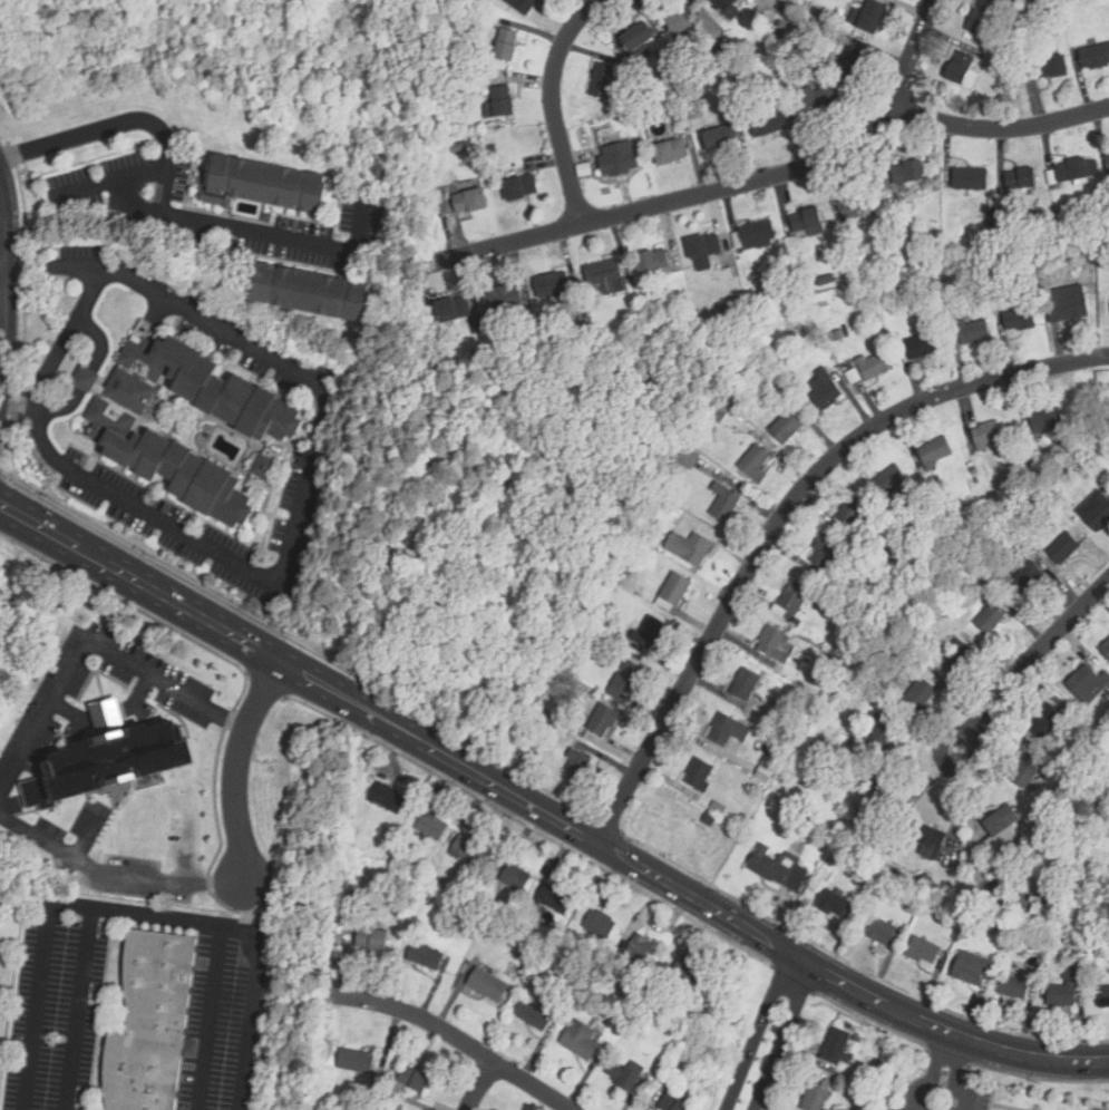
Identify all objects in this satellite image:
building: (1045, 3)
building: (726, 4)
building: (526, 6)
building: (817, 14)
building: (854, 18)
building: (873, 18)
building: (983, 18)
building: (684, 22)
building: (837, 26)
building: (639, 38)
building: (508, 48)
building: (1095, 57)
building: (788, 59)
building: (695, 64)
building: (1011, 64)
building: (853, 65)
building: (1052, 67)
building: (961, 68)
building: (604, 81)
building: (677, 88)
building: (455, 95)
building: (504, 101)
building: (817, 101)
road: (553, 105)
building: (488, 108)
building: (770, 123)
road: (998, 129)
building: (720, 138)
building: (670, 146)
building: (460, 148)
building: (493, 149)
building: (619, 156)
building: (1108, 160)
building: (1078, 172)
building: (911, 177)
building: (972, 179)
building: (1022, 179)
road: (111, 182)
building: (262, 185)
building: (519, 187)
road: (726, 188)
road: (4, 201)
building: (471, 202)
road: (166, 203)
building: (855, 204)
building: (267, 218)
building: (809, 223)
building: (756, 236)
building: (1028, 242)
building: (846, 249)
building: (706, 251)
building: (915, 259)
road: (3, 262)
building: (653, 264)
building: (605, 276)
building: (1001, 277)
building: (553, 285)
building: (766, 289)
building: (314, 292)
building: (893, 300)
building: (506, 301)
building: (735, 305)
building: (723, 309)
building: (1073, 309)
building: (455, 310)
building: (1021, 320)
building: (973, 332)
building: (758, 334)
road: (67, 335)
building: (838, 337)
building: (923, 347)
building: (515, 351)
building: (875, 367)
building: (854, 374)
road: (85, 377)
building: (825, 391)
road: (14, 401)
building: (1048, 421)
building: (788, 428)
building: (711, 429)
building: (271, 431)
building: (988, 436)
building: (936, 454)
building: (690, 459)
road: (308, 460)
building: (756, 463)
building: (1071, 477)
building: (891, 481)
building: (509, 494)
building: (726, 504)
building: (946, 512)
building: (1099, 513)
building: (480, 515)
road: (781, 516)
building: (853, 516)
building: (650, 517)
building: (690, 548)
building: (1064, 549)
building: (825, 553)
building: (895, 573)
building: (614, 574)
building: (1027, 581)
road: (139, 584)
building: (674, 593)
building: (795, 594)
building: (992, 616)
building: (797, 621)
building: (650, 633)
building: (775, 642)
building: (1107, 649)
road: (88, 650)
road: (1034, 656)
building: (959, 659)
building: (902, 662)
building: (779, 666)
building: (824, 671)
building: (628, 681)
building: (746, 684)
building: (1087, 684)
building: (924, 692)
building: (108, 717)
building: (604, 721)
building: (1047, 722)
building: (542, 727)
building: (723, 731)
building: (883, 733)
building: (522, 742)
road: (438, 751)
building: (118, 759)
building: (1051, 759)
road: (235, 767)
building: (578, 768)
building: (811, 771)
building: (1028, 772)
building: (766, 775)
building: (700, 776)
building: (38, 793)
building: (886, 795)
building: (389, 799)
building: (711, 820)
building: (434, 828)
building: (358, 833)
road: (545, 834)
building: (1000, 835)
building: (931, 840)
building: (470, 853)
building: (402, 859)
building: (857, 859)
building: (778, 868)
road: (113, 877)
building: (516, 878)
road: (658, 878)
building: (387, 893)
building: (555, 900)
road: (245, 903)
building: (430, 903)
building: (834, 906)
road: (52, 908)
building: (1039, 912)
building: (601, 925)
building: (994, 926)
building: (882, 934)
building: (571, 936)
building: (1096, 939)
building: (373, 942)
building: (1067, 942)
building: (516, 944)
building: (643, 950)
building: (923, 953)
building: (1023, 954)
building: (427, 958)
building: (1082, 960)
building: (974, 971)
building: (1082, 974)
building: (688, 975)
building: (489, 986)
building: (1014, 990)
building: (625, 992)
building: (1064, 992)
building: (1103, 997)
road: (252, 1011)
building: (533, 1014)
road: (904, 1015)
building: (154, 1023)
road: (769, 1034)
building: (580, 1039)
road: (456, 1040)
building: (837, 1048)
road: (937, 1060)
building: (357, 1061)
road: (959, 1064)
building: (628, 1075)
building: (412, 1081)
road: (479, 1085)
road: (938, 1088)
building: (818, 1098)
building: (383, 1100)
building: (673, 1104)
road: (992, 1104)
building: (437, 1107)

